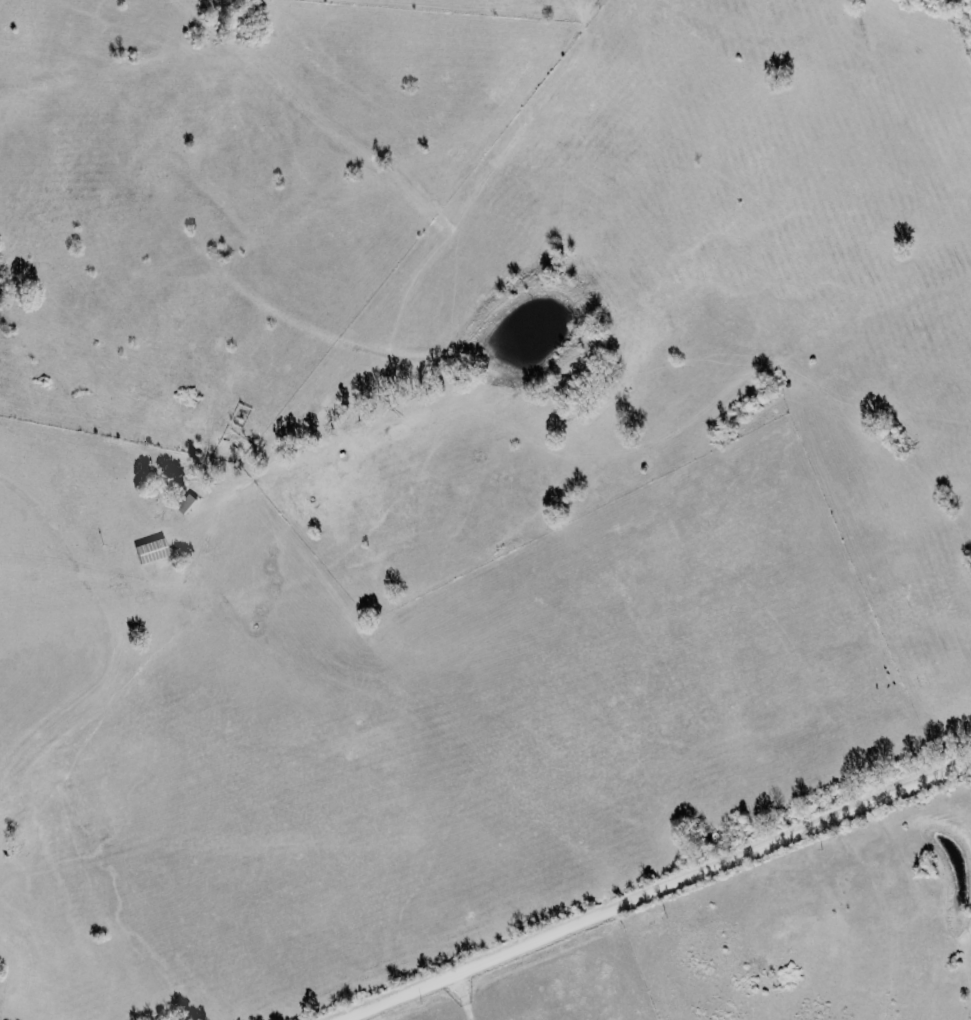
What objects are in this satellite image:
building: (154, 550)
road: (653, 890)

